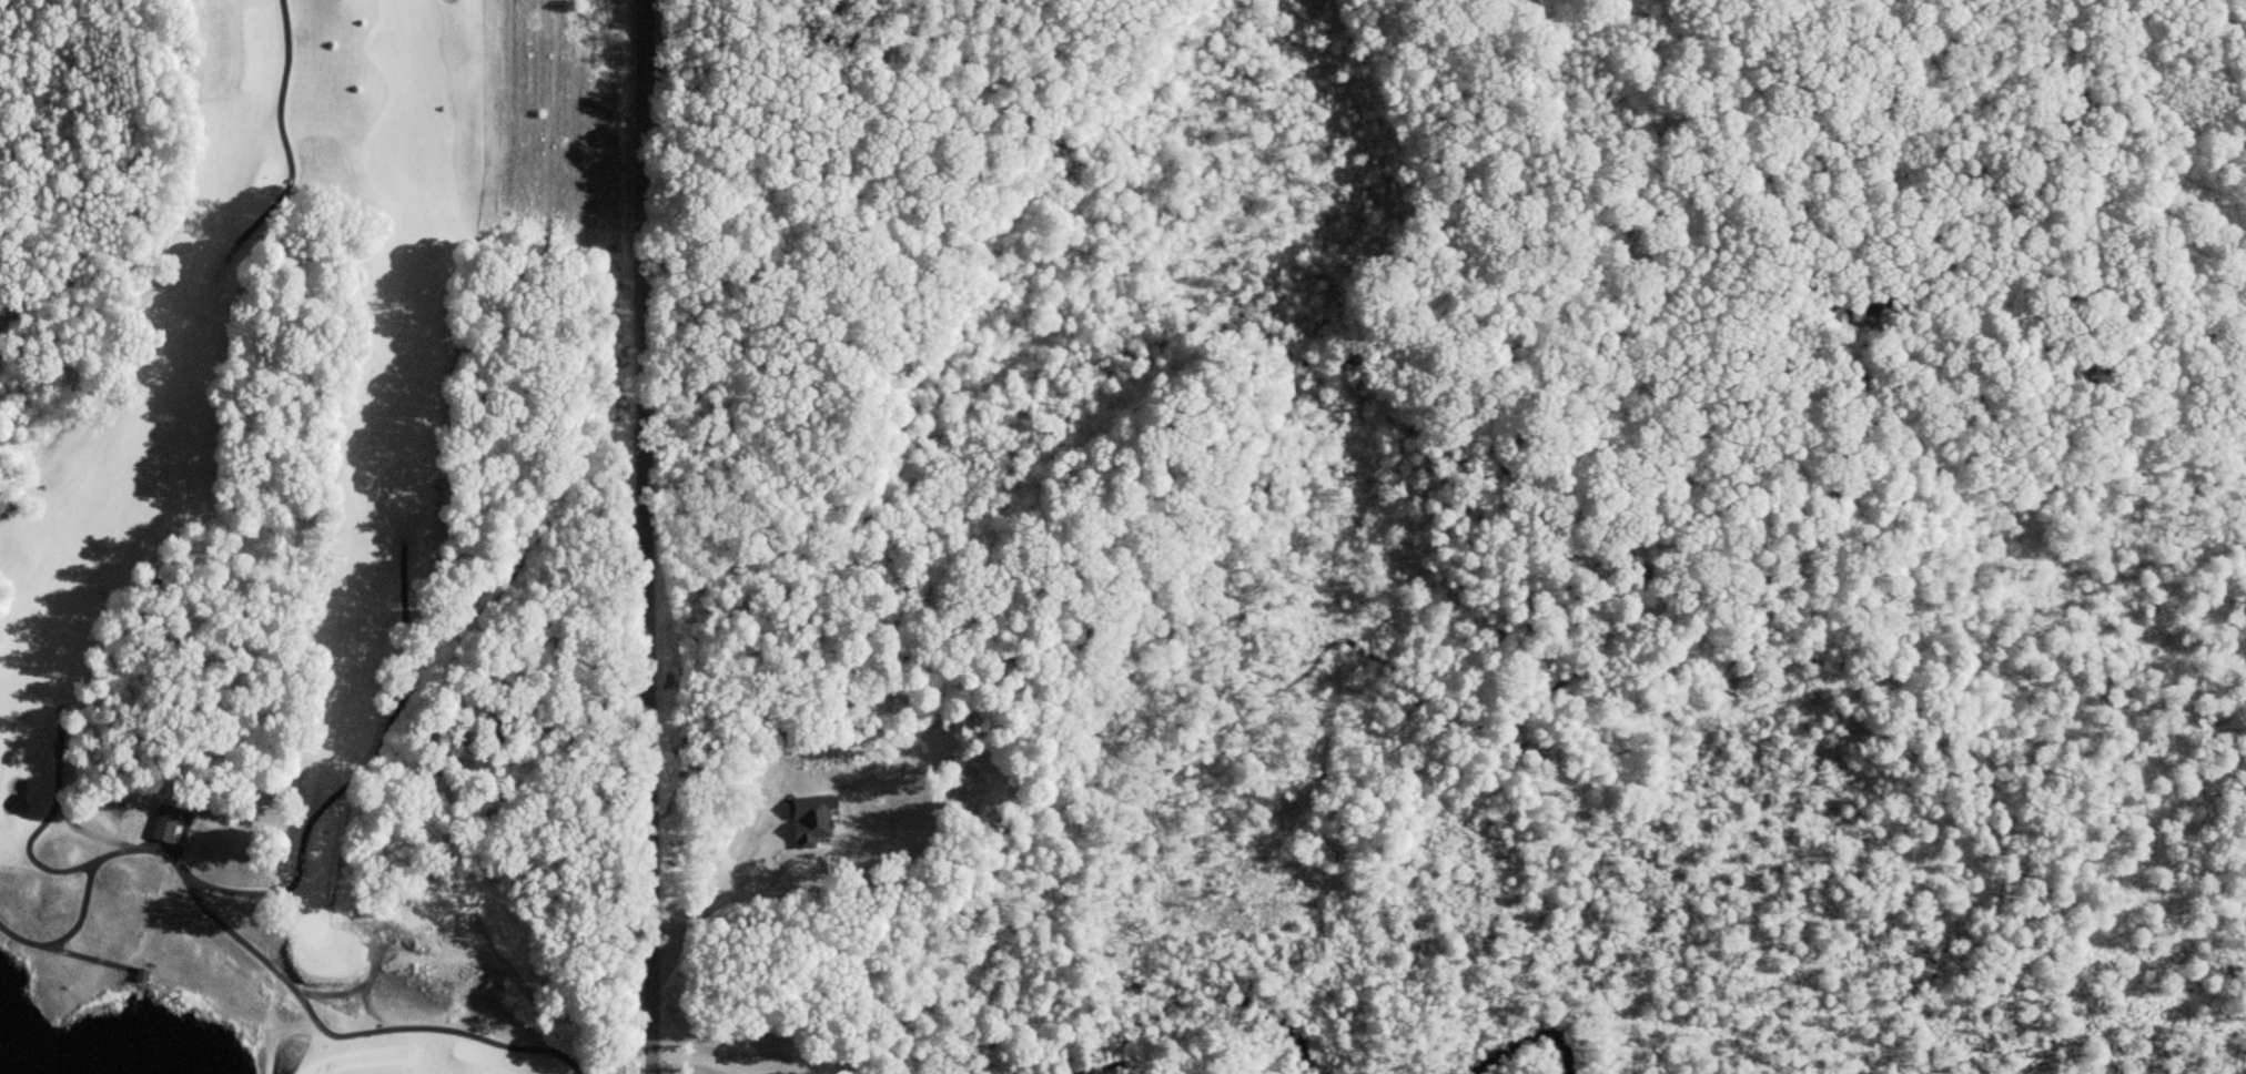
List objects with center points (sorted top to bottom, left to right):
road: (647, 537)
building: (166, 822)
road: (711, 890)
road: (705, 1053)

